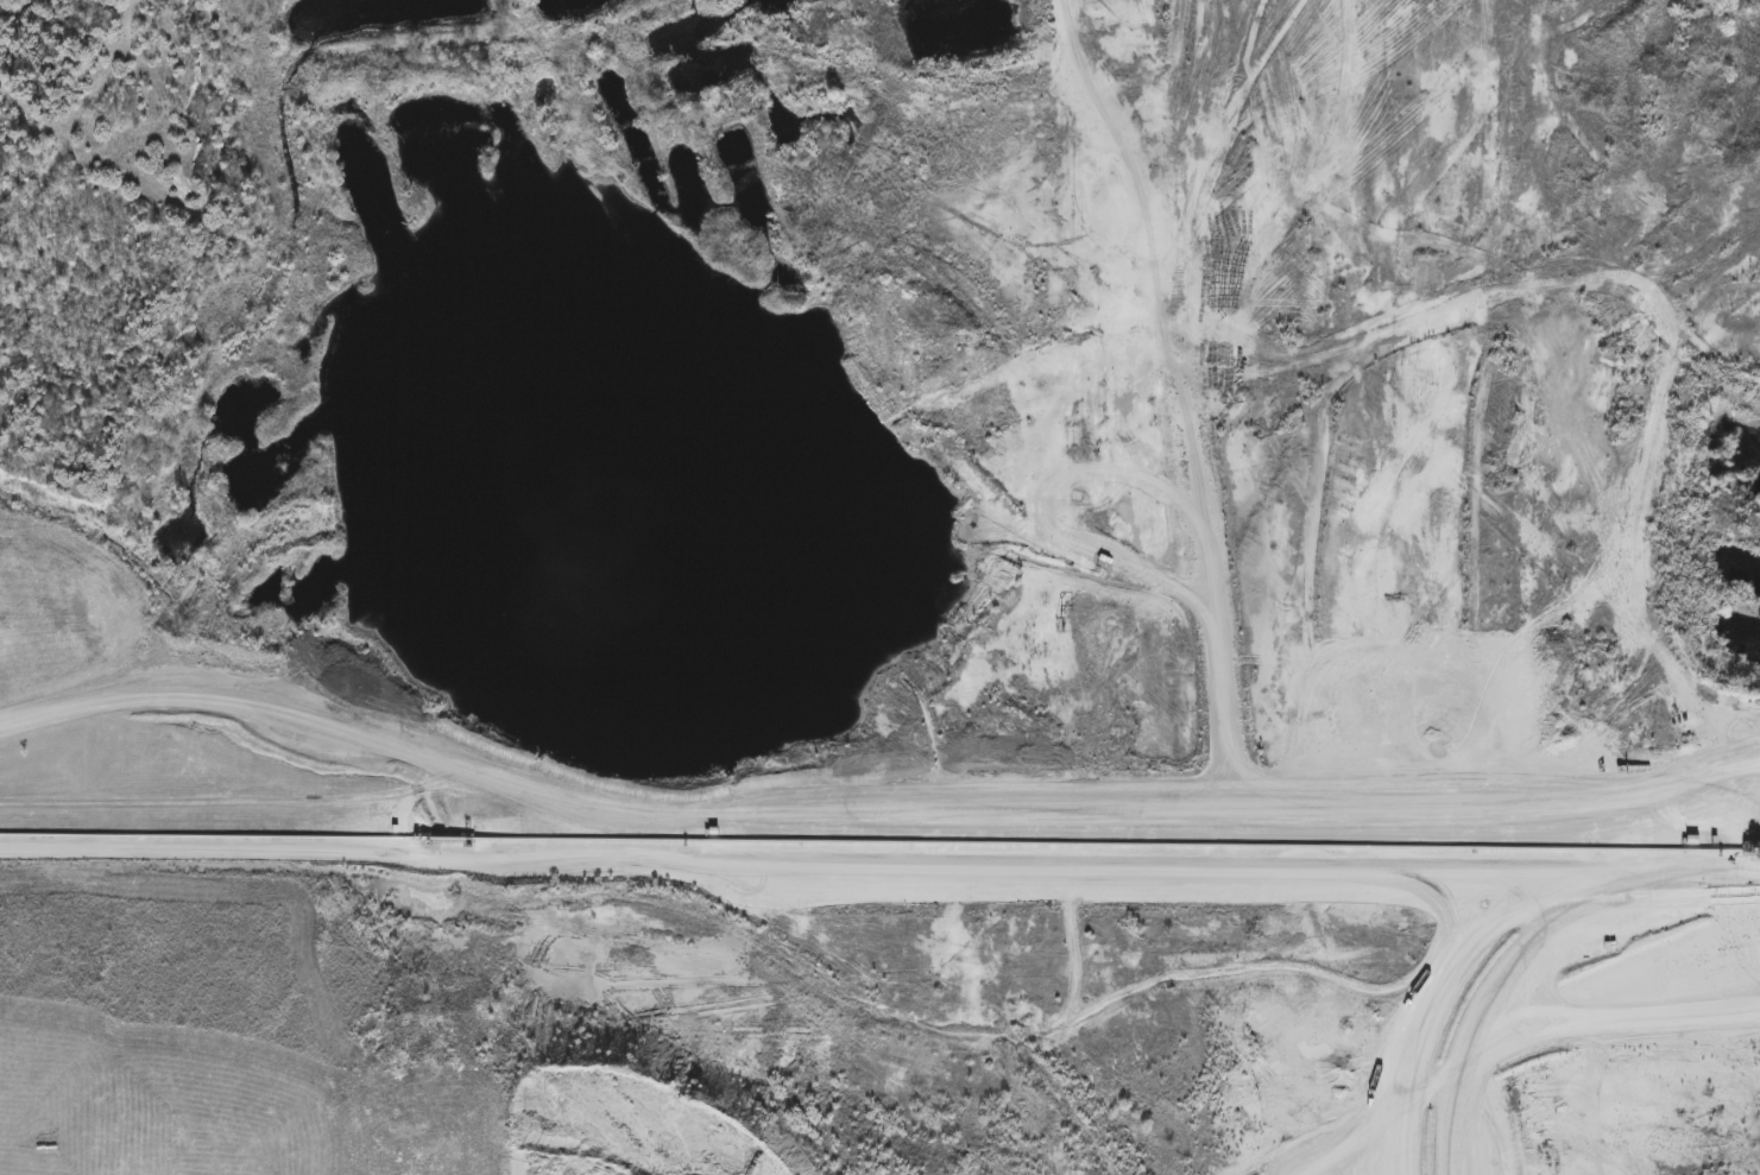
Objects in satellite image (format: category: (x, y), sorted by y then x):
road: (1073, 58)
road: (870, 781)
road: (923, 844)
road: (1611, 879)
road: (1502, 974)
road: (1540, 1000)

